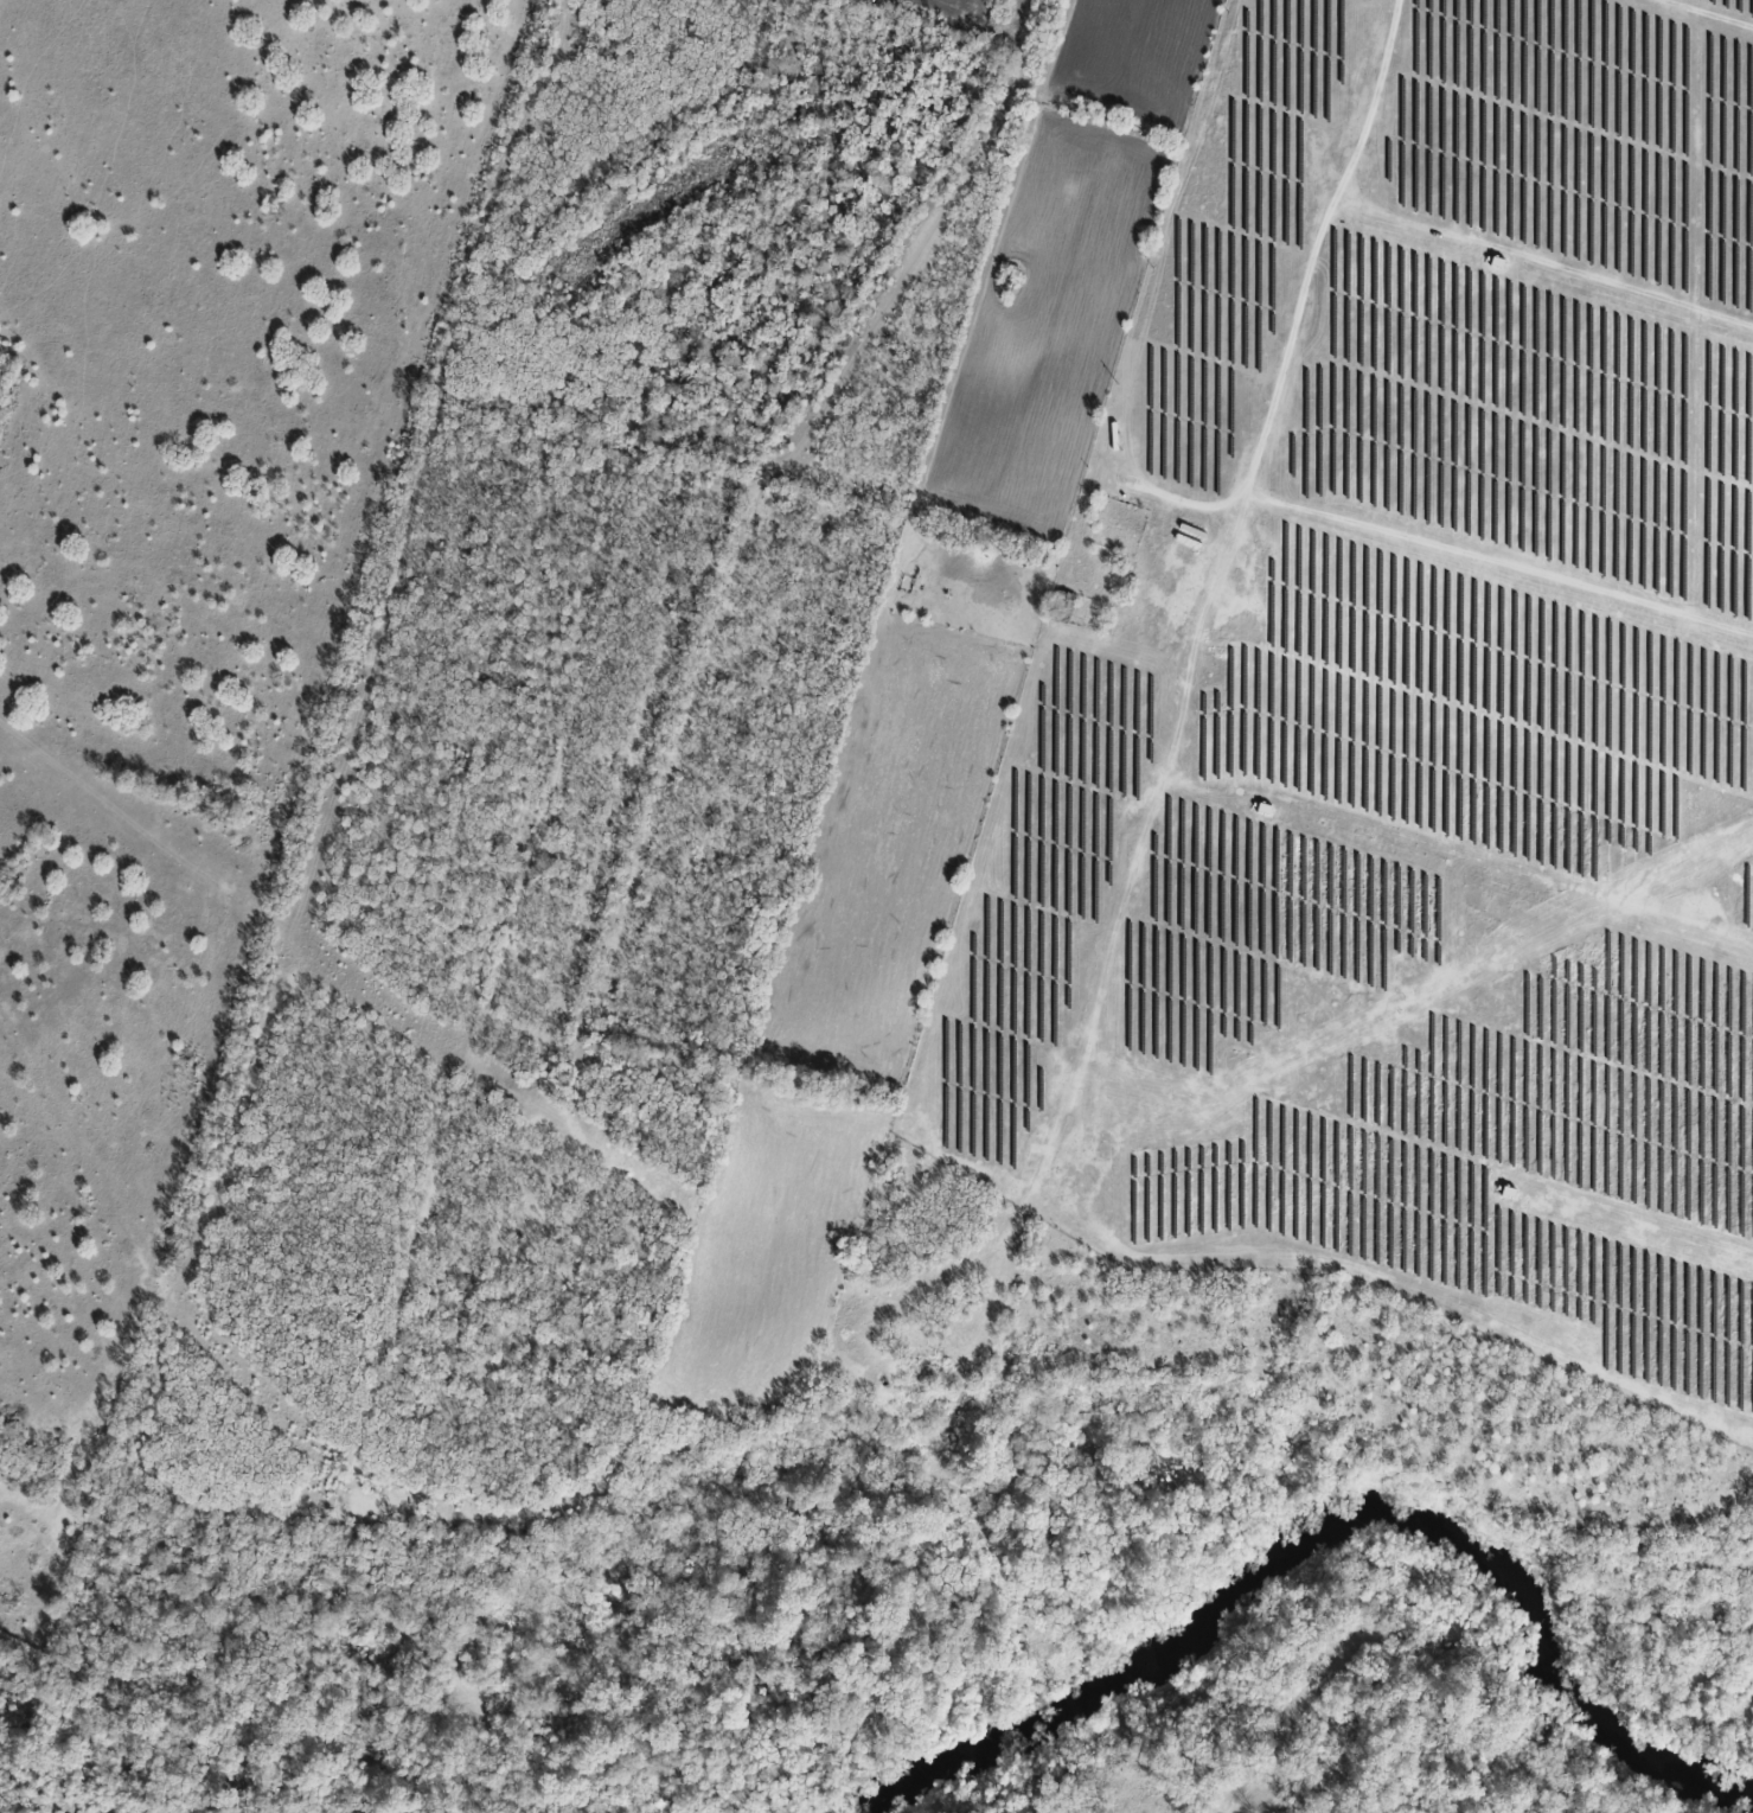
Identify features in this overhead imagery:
road: (1527, 458)
solar farm: (1408, 700)
river: (1329, 1533)

